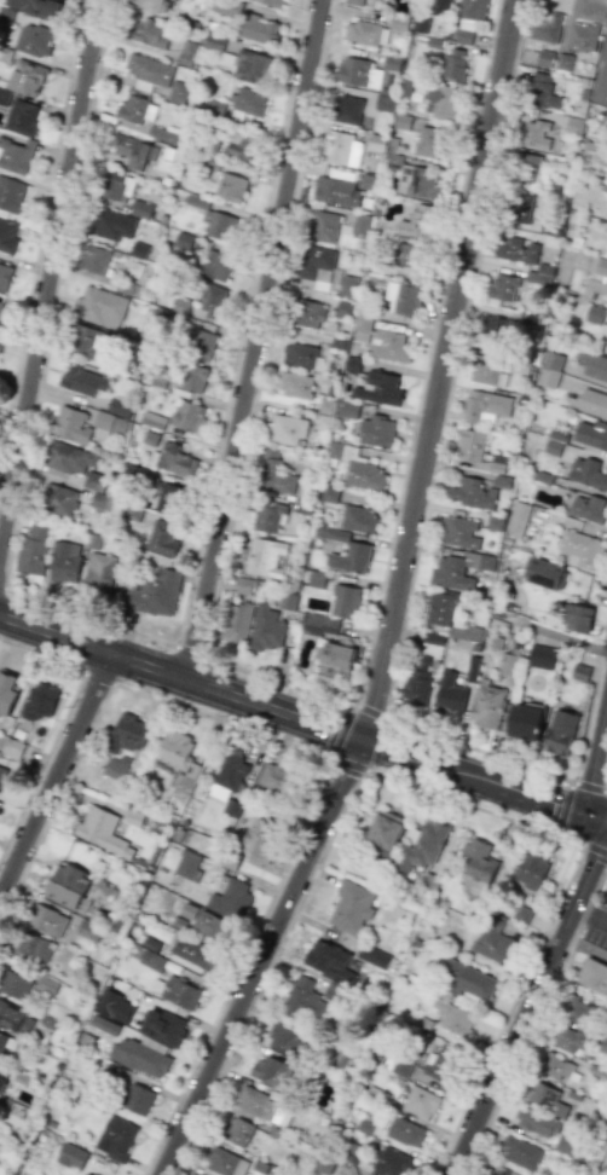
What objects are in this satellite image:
building: (354, 1)
building: (271, 2)
building: (151, 5)
building: (35, 6)
building: (227, 7)
building: (439, 7)
building: (5, 15)
building: (469, 19)
building: (421, 24)
building: (545, 28)
building: (258, 29)
building: (151, 34)
building: (366, 34)
building: (583, 37)
building: (35, 40)
building: (214, 42)
building: (186, 53)
building: (544, 59)
building: (392, 63)
building: (453, 64)
building: (252, 68)
building: (149, 71)
building: (358, 74)
building: (25, 79)
building: (600, 80)
building: (177, 92)
building: (543, 92)
building: (5, 97)
building: (440, 102)
building: (248, 104)
building: (347, 109)
building: (135, 110)
building: (22, 118)
building: (401, 121)
building: (161, 134)
building: (534, 134)
building: (376, 143)
building: (430, 143)
building: (241, 145)
building: (341, 149)
building: (132, 151)
building: (16, 155)
building: (600, 156)
building: (527, 168)
building: (417, 183)
building: (114, 185)
building: (230, 187)
building: (335, 191)
building: (11, 195)
building: (520, 208)
building: (140, 209)
building: (417, 222)
building: (111, 225)
building: (219, 226)
building: (359, 226)
building: (323, 227)
building: (7, 237)
building: (516, 249)
building: (138, 250)
building: (407, 255)
building: (94, 259)
building: (216, 266)
building: (316, 266)
building: (597, 266)
road: (48, 268)
building: (4, 277)
building: (346, 286)
building: (502, 288)
building: (404, 297)
building: (212, 301)
building: (1, 307)
building: (99, 307)
building: (308, 314)
building: (594, 314)
building: (362, 329)
building: (497, 330)
building: (0, 338)
road: (253, 340)
building: (87, 341)
building: (200, 345)
building: (388, 346)
building: (606, 347)
building: (299, 355)
building: (594, 365)
road: (435, 369)
building: (550, 369)
building: (487, 371)
building: (193, 378)
building: (82, 381)
building: (294, 384)
building: (378, 388)
building: (590, 403)
building: (485, 406)
building: (118, 407)
building: (346, 409)
building: (189, 416)
building: (155, 421)
building: (109, 422)
building: (71, 426)
building: (287, 429)
building: (376, 432)
building: (591, 434)
building: (554, 444)
building: (470, 445)
building: (69, 458)
building: (173, 459)
building: (497, 463)
building: (357, 468)
building: (586, 473)
building: (273, 474)
building: (94, 481)
building: (472, 493)
building: (329, 494)
building: (58, 499)
building: (170, 499)
building: (584, 507)
building: (133, 514)
building: (268, 516)
building: (516, 519)
building: (358, 520)
building: (459, 533)
building: (162, 538)
building: (579, 549)
building: (34, 550)
building: (265, 555)
building: (352, 556)
building: (65, 562)
building: (100, 571)
building: (456, 571)
building: (543, 573)
building: (155, 592)
building: (345, 602)
building: (446, 614)
building: (577, 618)
building: (237, 624)
building: (318, 625)
building: (266, 629)
road: (549, 633)
building: (433, 638)
building: (542, 658)
building: (336, 660)
building: (508, 667)
building: (472, 668)
building: (580, 672)
road: (179, 678)
building: (417, 682)
building: (7, 694)
building: (449, 695)
building: (40, 701)
building: (487, 705)
building: (525, 722)
building: (560, 733)
building: (127, 734)
building: (12, 748)
building: (178, 752)
road: (594, 753)
building: (115, 769)
road: (455, 771)
building: (1, 774)
building: (274, 777)
road: (57, 778)
road: (566, 809)
building: (134, 817)
road: (594, 817)
building: (102, 832)
building: (383, 832)
building: (262, 843)
building: (422, 846)
road: (11, 847)
building: (475, 863)
building: (187, 866)
building: (532, 869)
road: (4, 882)
building: (67, 886)
building: (231, 901)
building: (349, 907)
building: (521, 914)
road: (590, 918)
building: (46, 920)
building: (210, 926)
building: (88, 930)
building: (492, 939)
road: (584, 947)
building: (34, 948)
building: (196, 954)
road: (259, 956)
building: (372, 956)
building: (151, 960)
building: (328, 961)
building: (592, 976)
building: (464, 980)
building: (15, 985)
building: (178, 992)
building: (302, 1000)
building: (114, 1006)
road: (528, 1007)
building: (578, 1011)
building: (452, 1018)
building: (16, 1019)
building: (103, 1025)
building: (162, 1026)
building: (567, 1040)
building: (285, 1041)
building: (6, 1043)
building: (140, 1058)
building: (439, 1064)
building: (400, 1066)
building: (555, 1066)
building: (271, 1071)
building: (2, 1078)
building: (545, 1098)
building: (137, 1100)
building: (420, 1102)
building: (260, 1104)
building: (534, 1122)
building: (237, 1131)
building: (405, 1131)
building: (116, 1139)
building: (566, 1146)
building: (519, 1152)
building: (71, 1156)
building: (391, 1162)
building: (225, 1163)
building: (322, 1163)
building: (501, 1171)
building: (83, 1174)

